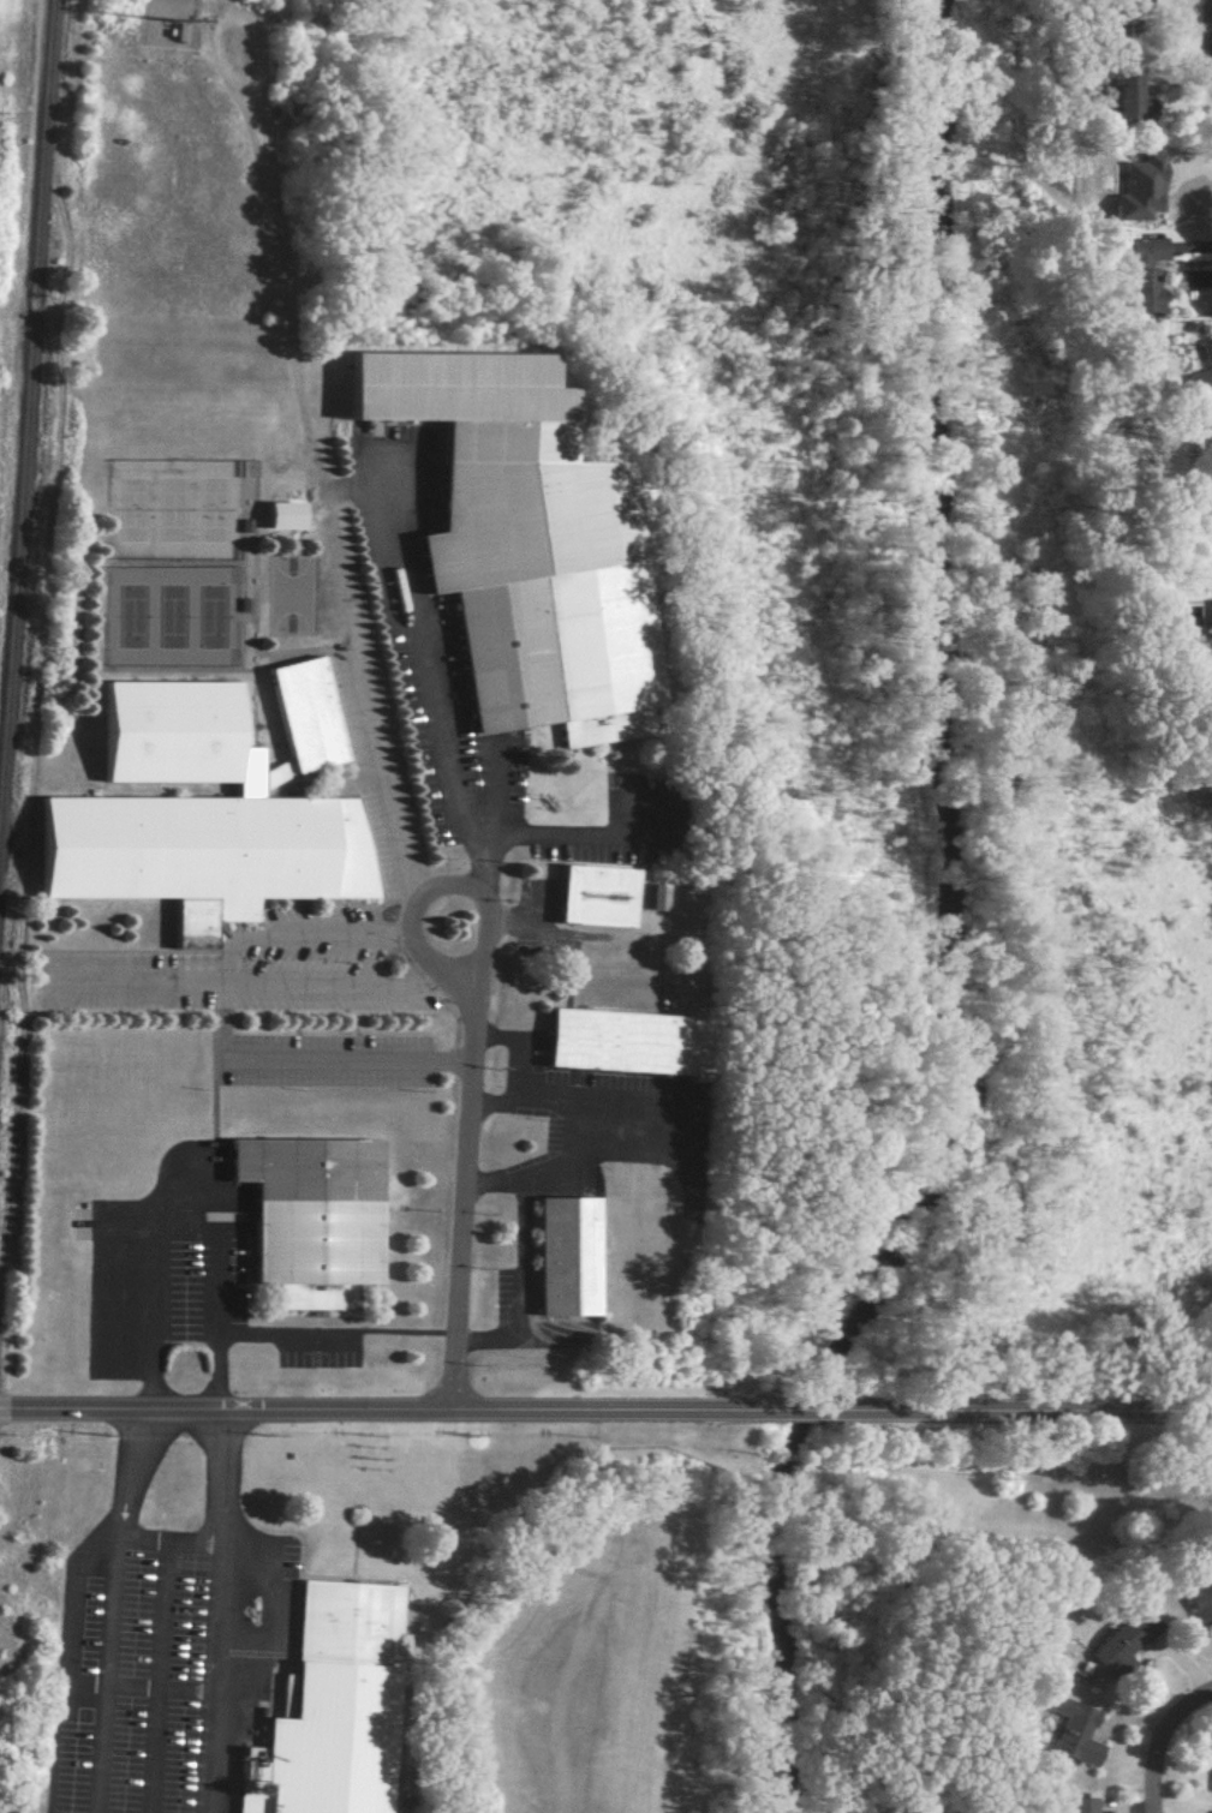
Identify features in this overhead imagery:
road: (1201, 52)
building: (1122, 97)
building: (1136, 189)
building: (1141, 273)
building: (1200, 370)
railway: (26, 387)
building: (1207, 443)
park: (127, 510)
park: (168, 510)
park: (208, 510)
building: (277, 514)
building: (508, 552)
park: (208, 616)
park: (127, 617)
park: (168, 617)
building: (1206, 621)
building: (301, 714)
road: (437, 725)
building: (192, 819)
road: (485, 878)
building: (591, 896)
building: (651, 896)
road: (258, 983)
building: (622, 1042)
road: (512, 1051)
road: (304, 1059)
road: (572, 1109)
road: (464, 1167)
building: (309, 1216)
building: (562, 1255)
road: (519, 1258)
road: (1029, 1408)
road: (802, 1410)
road: (378, 1411)
road: (123, 1472)
road: (223, 1477)
building: (1196, 1600)
building: (1118, 1640)
road: (103, 1674)
road: (214, 1677)
road: (159, 1686)
building: (316, 1697)
building: (1069, 1731)
road: (1159, 1740)
building: (1208, 1769)
building: (1076, 1805)
building: (1208, 1811)

